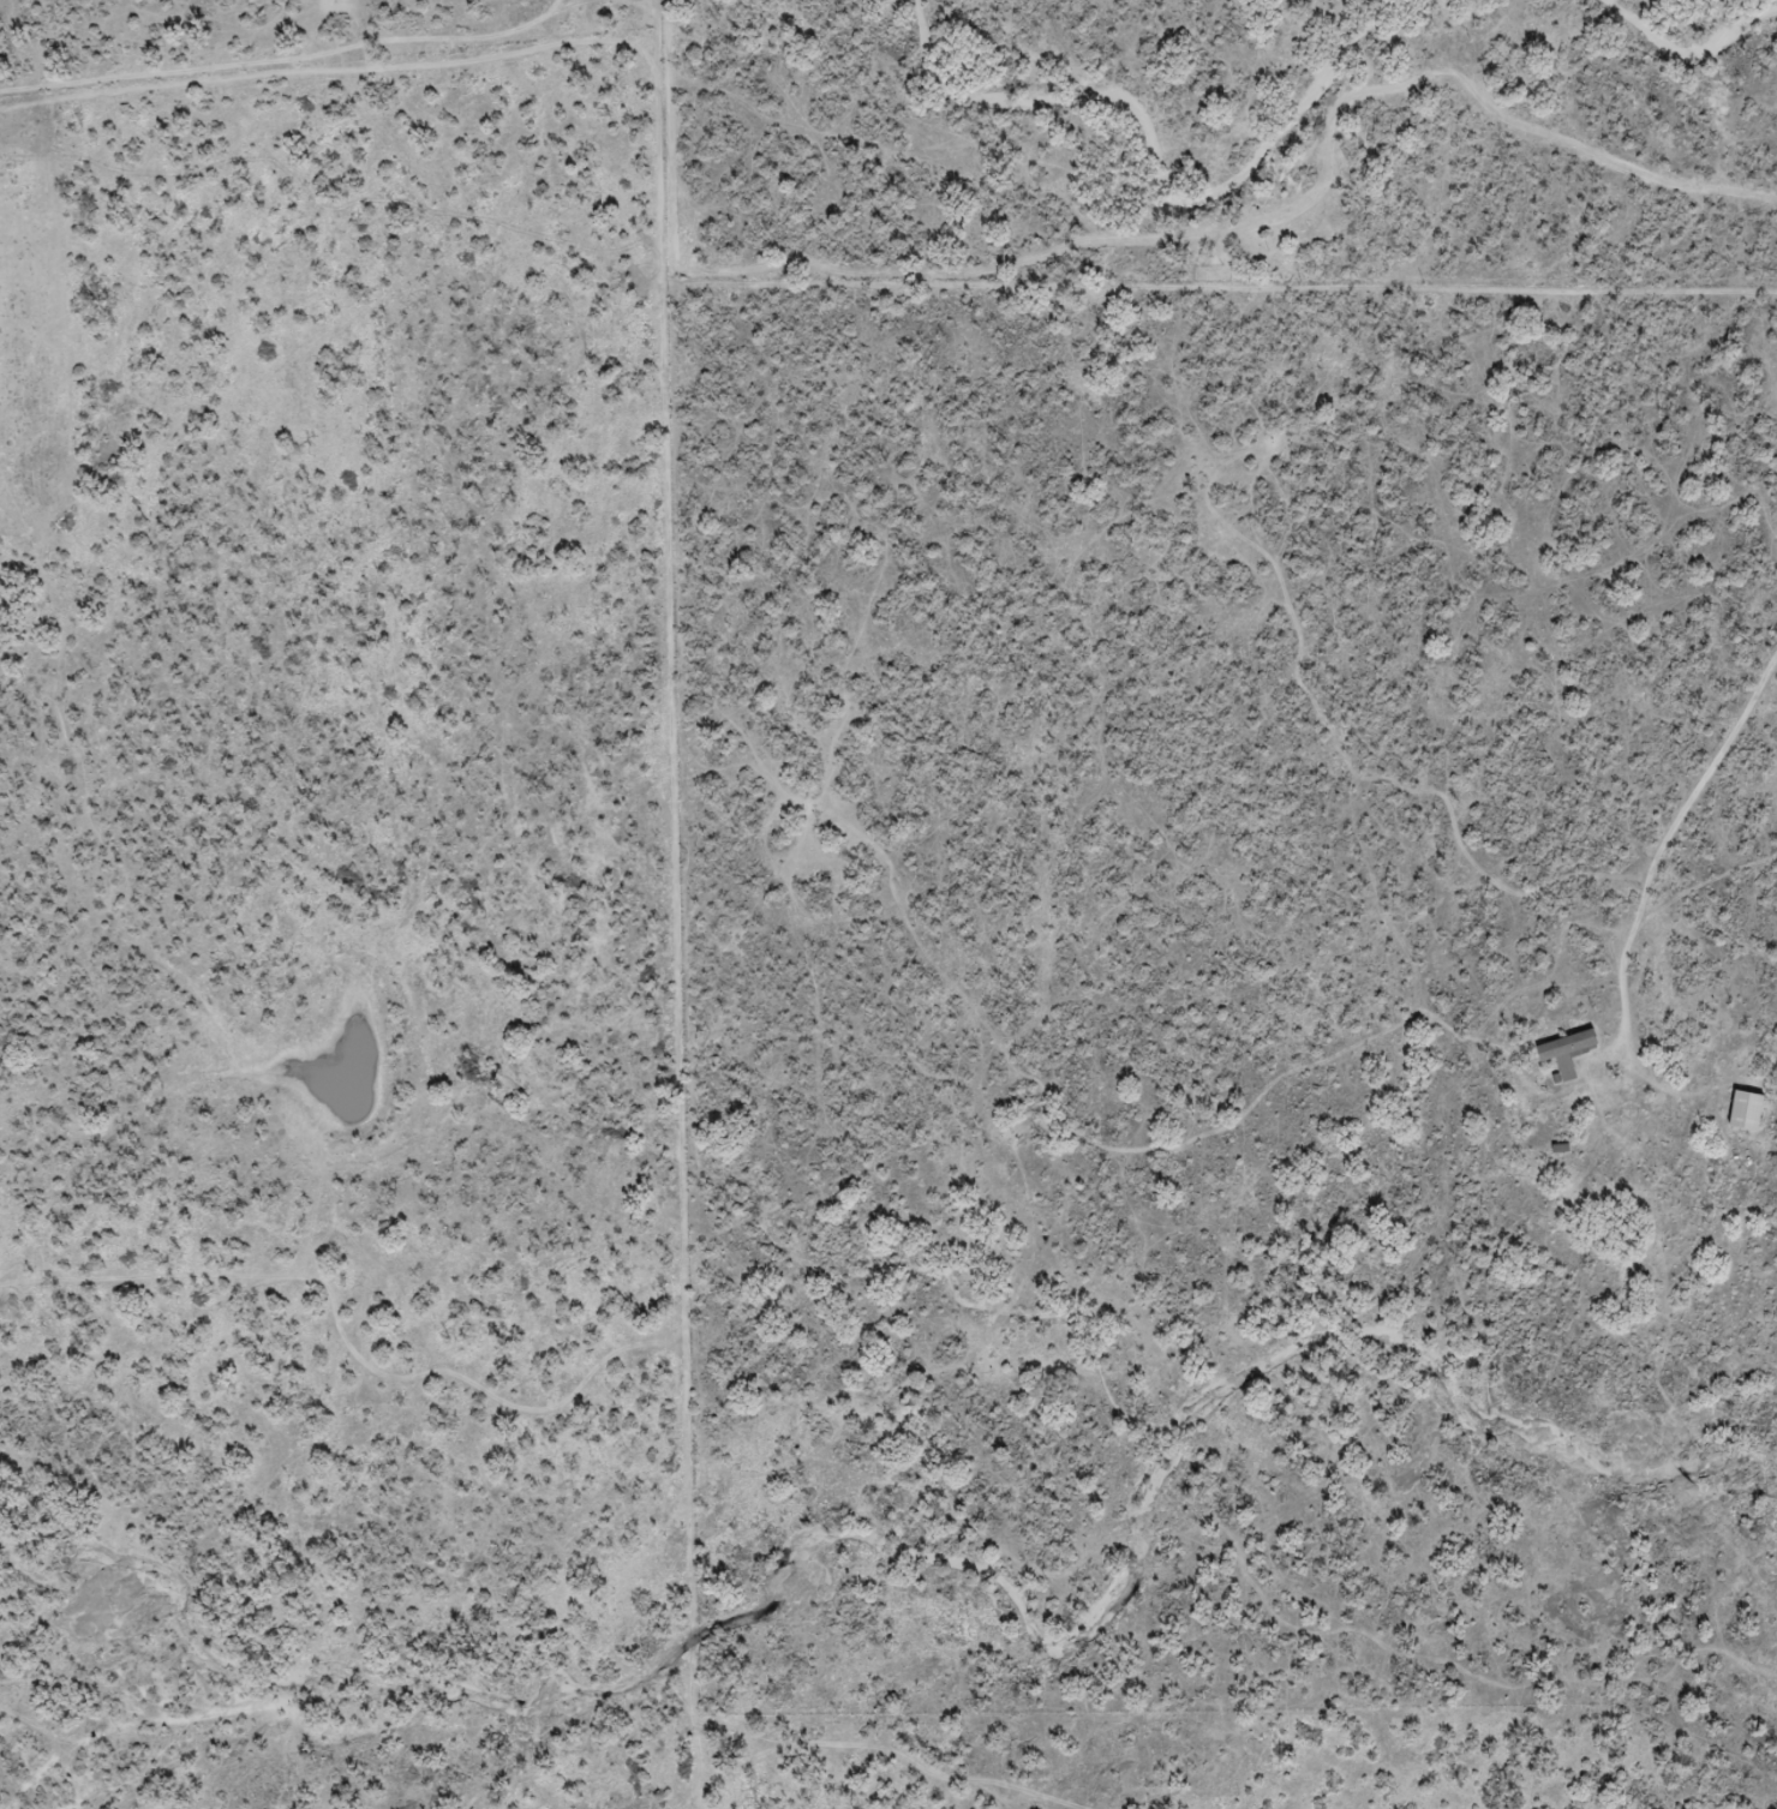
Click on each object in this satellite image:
building: (1567, 1053)
building: (1746, 1112)

